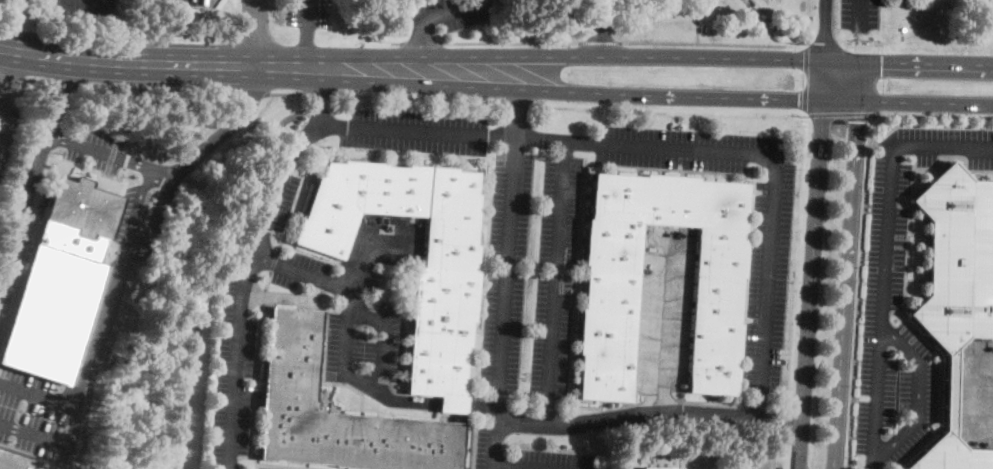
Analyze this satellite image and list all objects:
parking lot: (190, 2)
parking lot: (78, 6)
road: (447, 10)
parking lot: (306, 12)
parking lot: (446, 13)
parking lot: (859, 13)
road: (304, 14)
road: (859, 15)
road: (697, 21)
road: (9, 24)
road: (601, 27)
road: (825, 30)
road: (252, 32)
road: (419, 40)
road: (598, 40)
road: (510, 41)
road: (396, 42)
road: (421, 42)
road: (704, 42)
traffic signals: (826, 43)
road: (799, 44)
road: (825, 44)
road: (861, 46)
road: (304, 54)
road: (622, 56)
traffic signals: (881, 61)
road: (125, 62)
road: (3, 65)
road: (9, 76)
road: (805, 78)
road: (876, 79)
road: (34, 80)
road: (843, 80)
road: (59, 83)
road: (824, 89)
road: (151, 90)
road: (554, 90)
road: (248, 95)
road: (60, 96)
road: (286, 96)
road: (320, 96)
road: (320, 99)
road: (417, 99)
traffic signals: (799, 100)
road: (925, 102)
road: (517, 105)
road: (669, 106)
road: (859, 110)
road: (516, 112)
road: (840, 112)
road: (261, 113)
road: (934, 113)
road: (0, 114)
road: (241, 115)
traffic signals: (858, 120)
parking lot: (413, 130)
parking lot: (5, 135)
parking lot: (937, 144)
road: (186, 147)
parking lot: (92, 148)
parking lot: (690, 148)
road: (112, 154)
road: (775, 156)
road: (273, 190)
road: (852, 197)
parking lot: (280, 202)
road: (23, 206)
building: (79, 208)
road: (135, 210)
parking lot: (128, 212)
road: (369, 250)
road: (883, 255)
road: (799, 257)
road: (859, 257)
parking lot: (884, 260)
road: (118, 271)
parking lot: (529, 273)
road: (505, 278)
road: (555, 282)
parking lot: (765, 287)
building: (955, 292)
building: (608, 293)
road: (810, 293)
building: (444, 296)
parking lot: (360, 300)
building: (51, 303)
parking lot: (662, 311)
road: (661, 328)
road: (347, 346)
road: (840, 372)
parking lot: (234, 374)
parking lot: (974, 390)
road: (917, 392)
road: (36, 393)
road: (964, 394)
building: (336, 413)
road: (648, 414)
parking lot: (37, 416)
road: (788, 419)
road: (848, 437)
parking lot: (896, 442)
road: (494, 445)
road: (785, 452)
parking lot: (551, 459)
road: (540, 464)
building: (651, 468)

